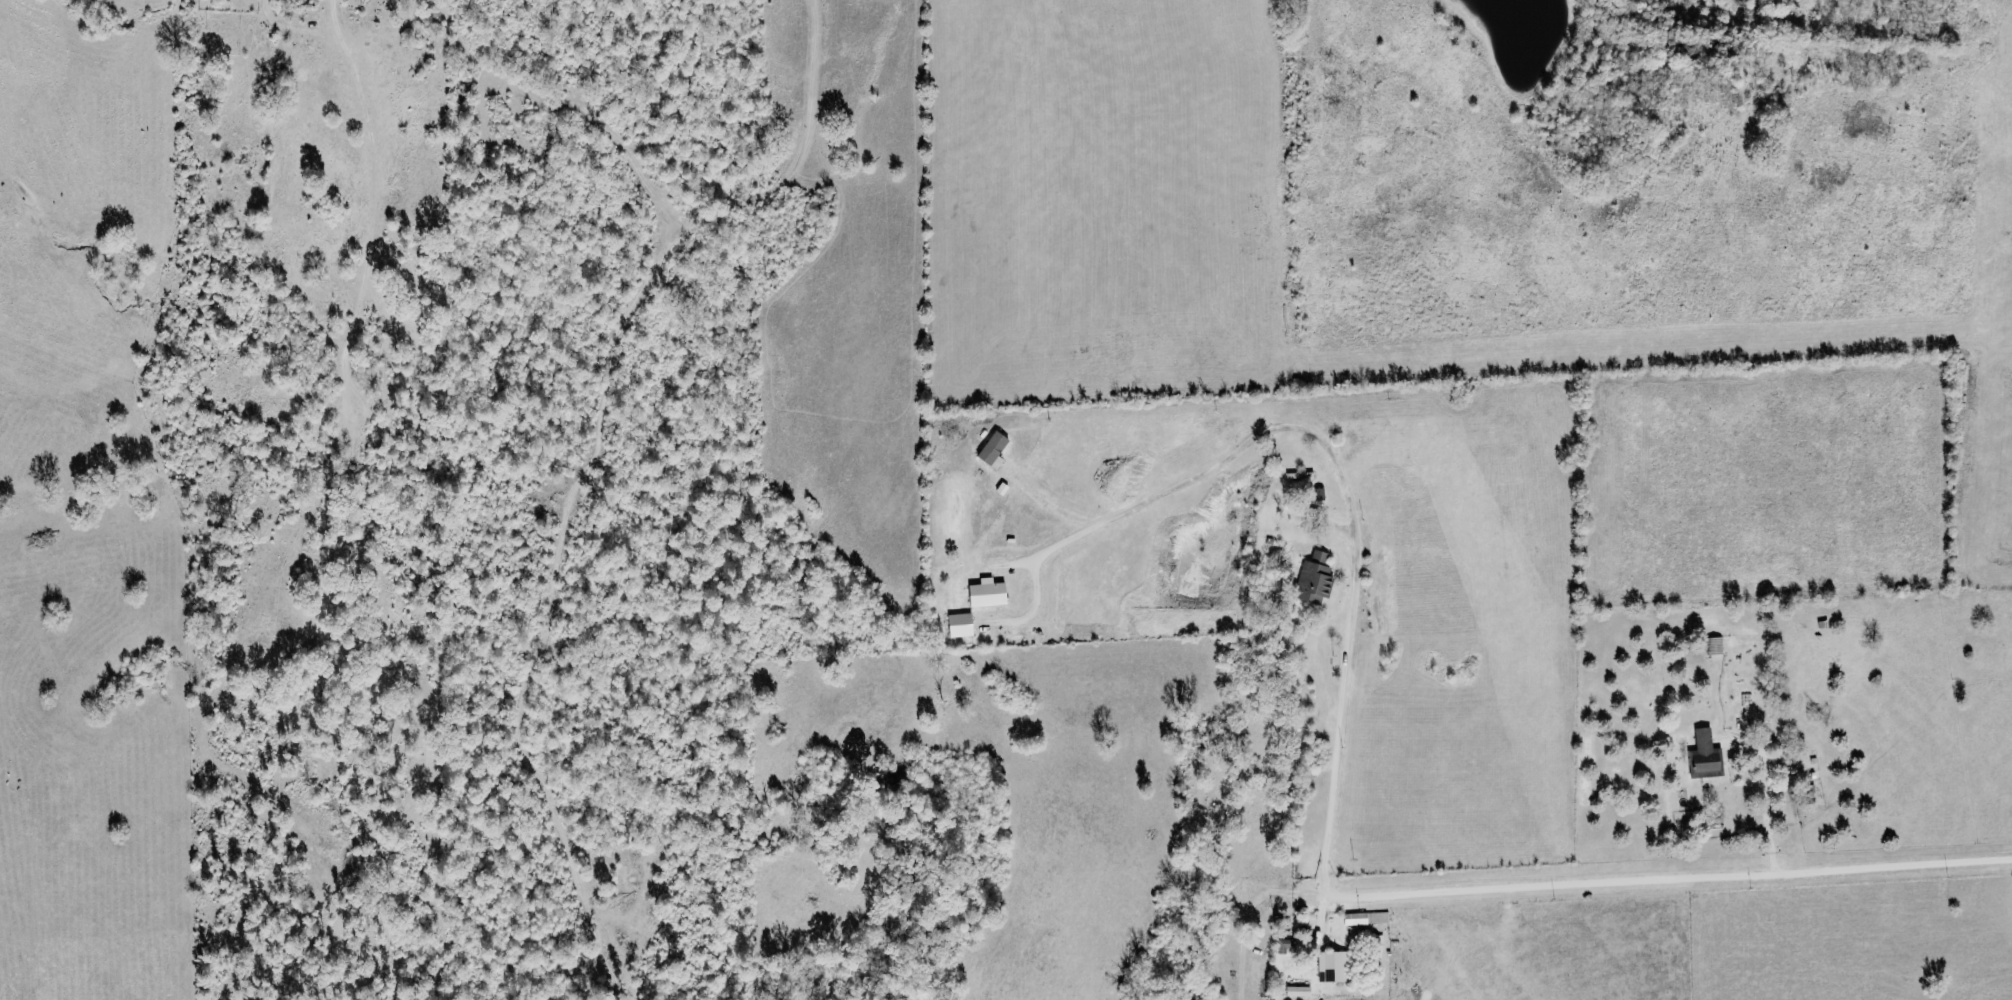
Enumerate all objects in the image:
building: (991, 449)
building: (1312, 578)
building: (985, 592)
building: (957, 624)
building: (1714, 645)
building: (1704, 755)
road: (1689, 878)
building: (1364, 917)
building: (1330, 965)
building: (1296, 991)

